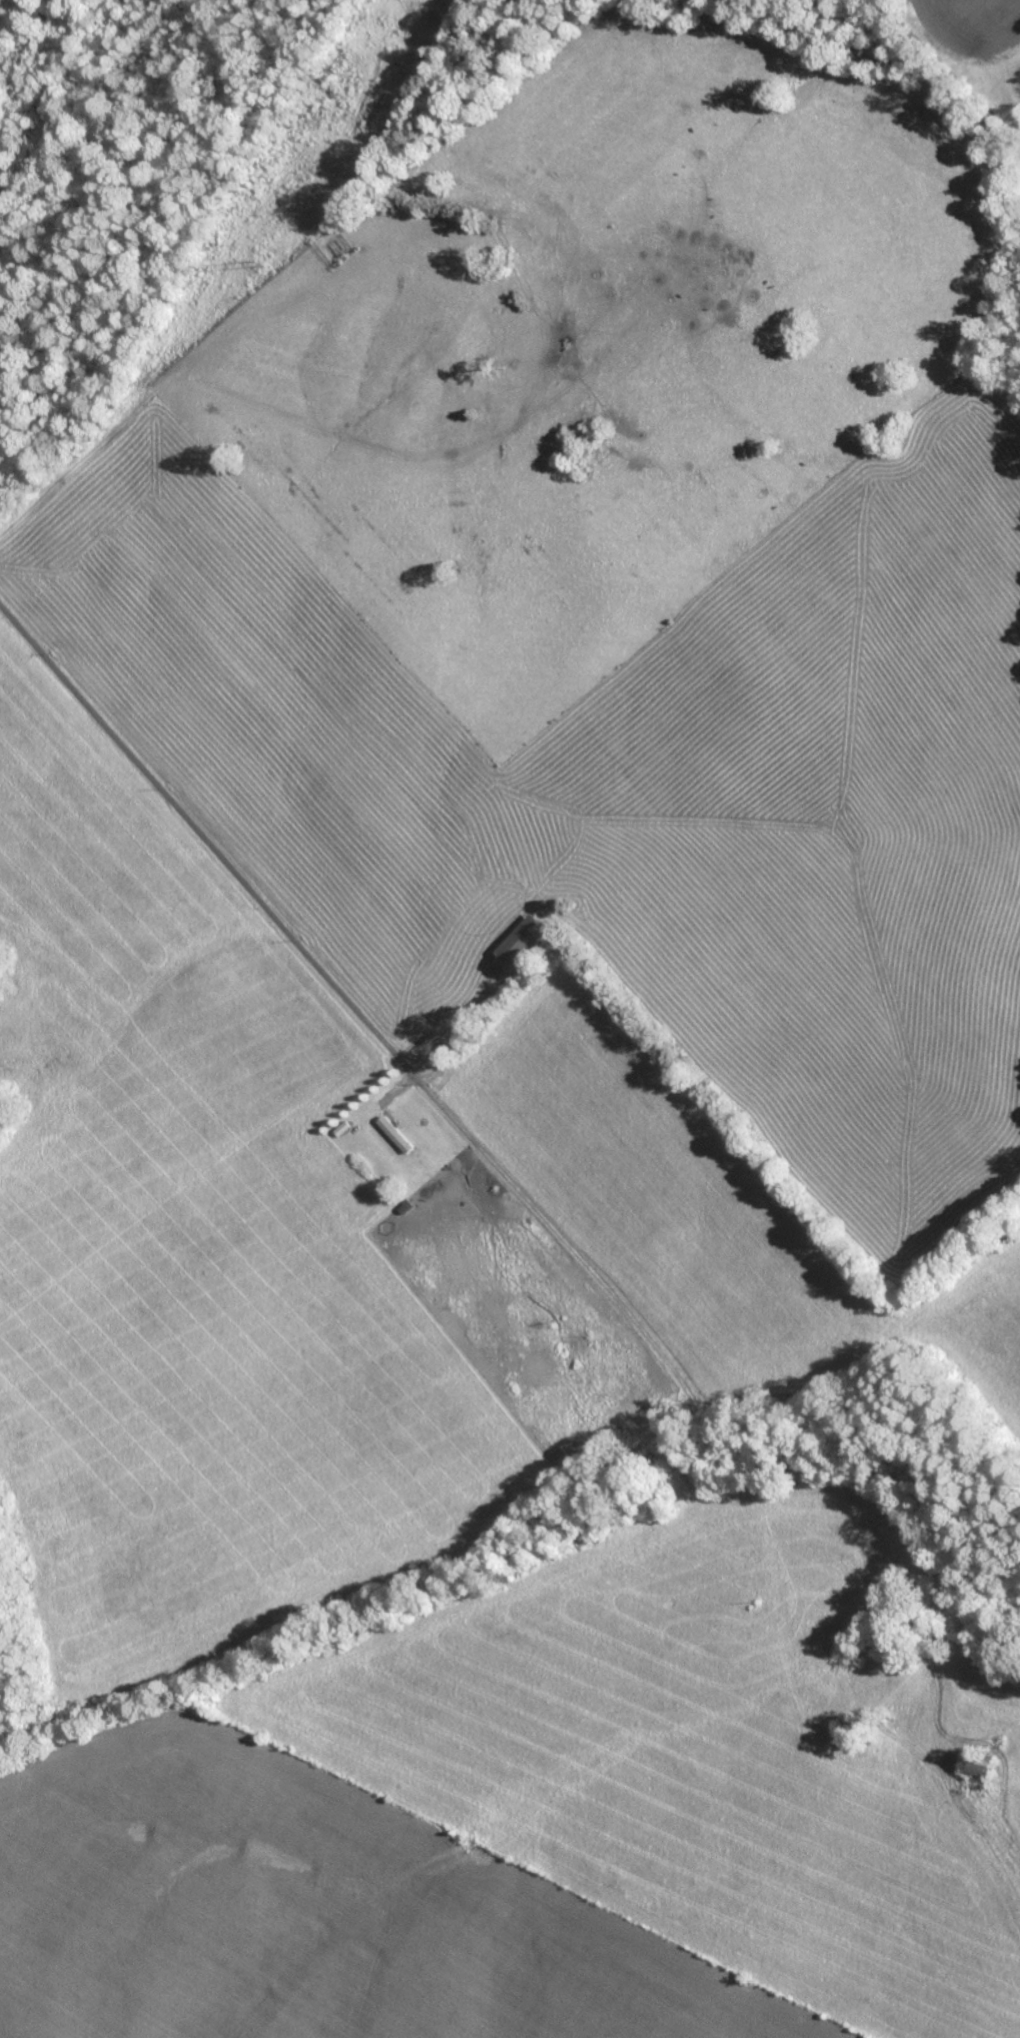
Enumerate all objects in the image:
power tower: (262, 263)
road: (214, 853)
building: (517, 939)

